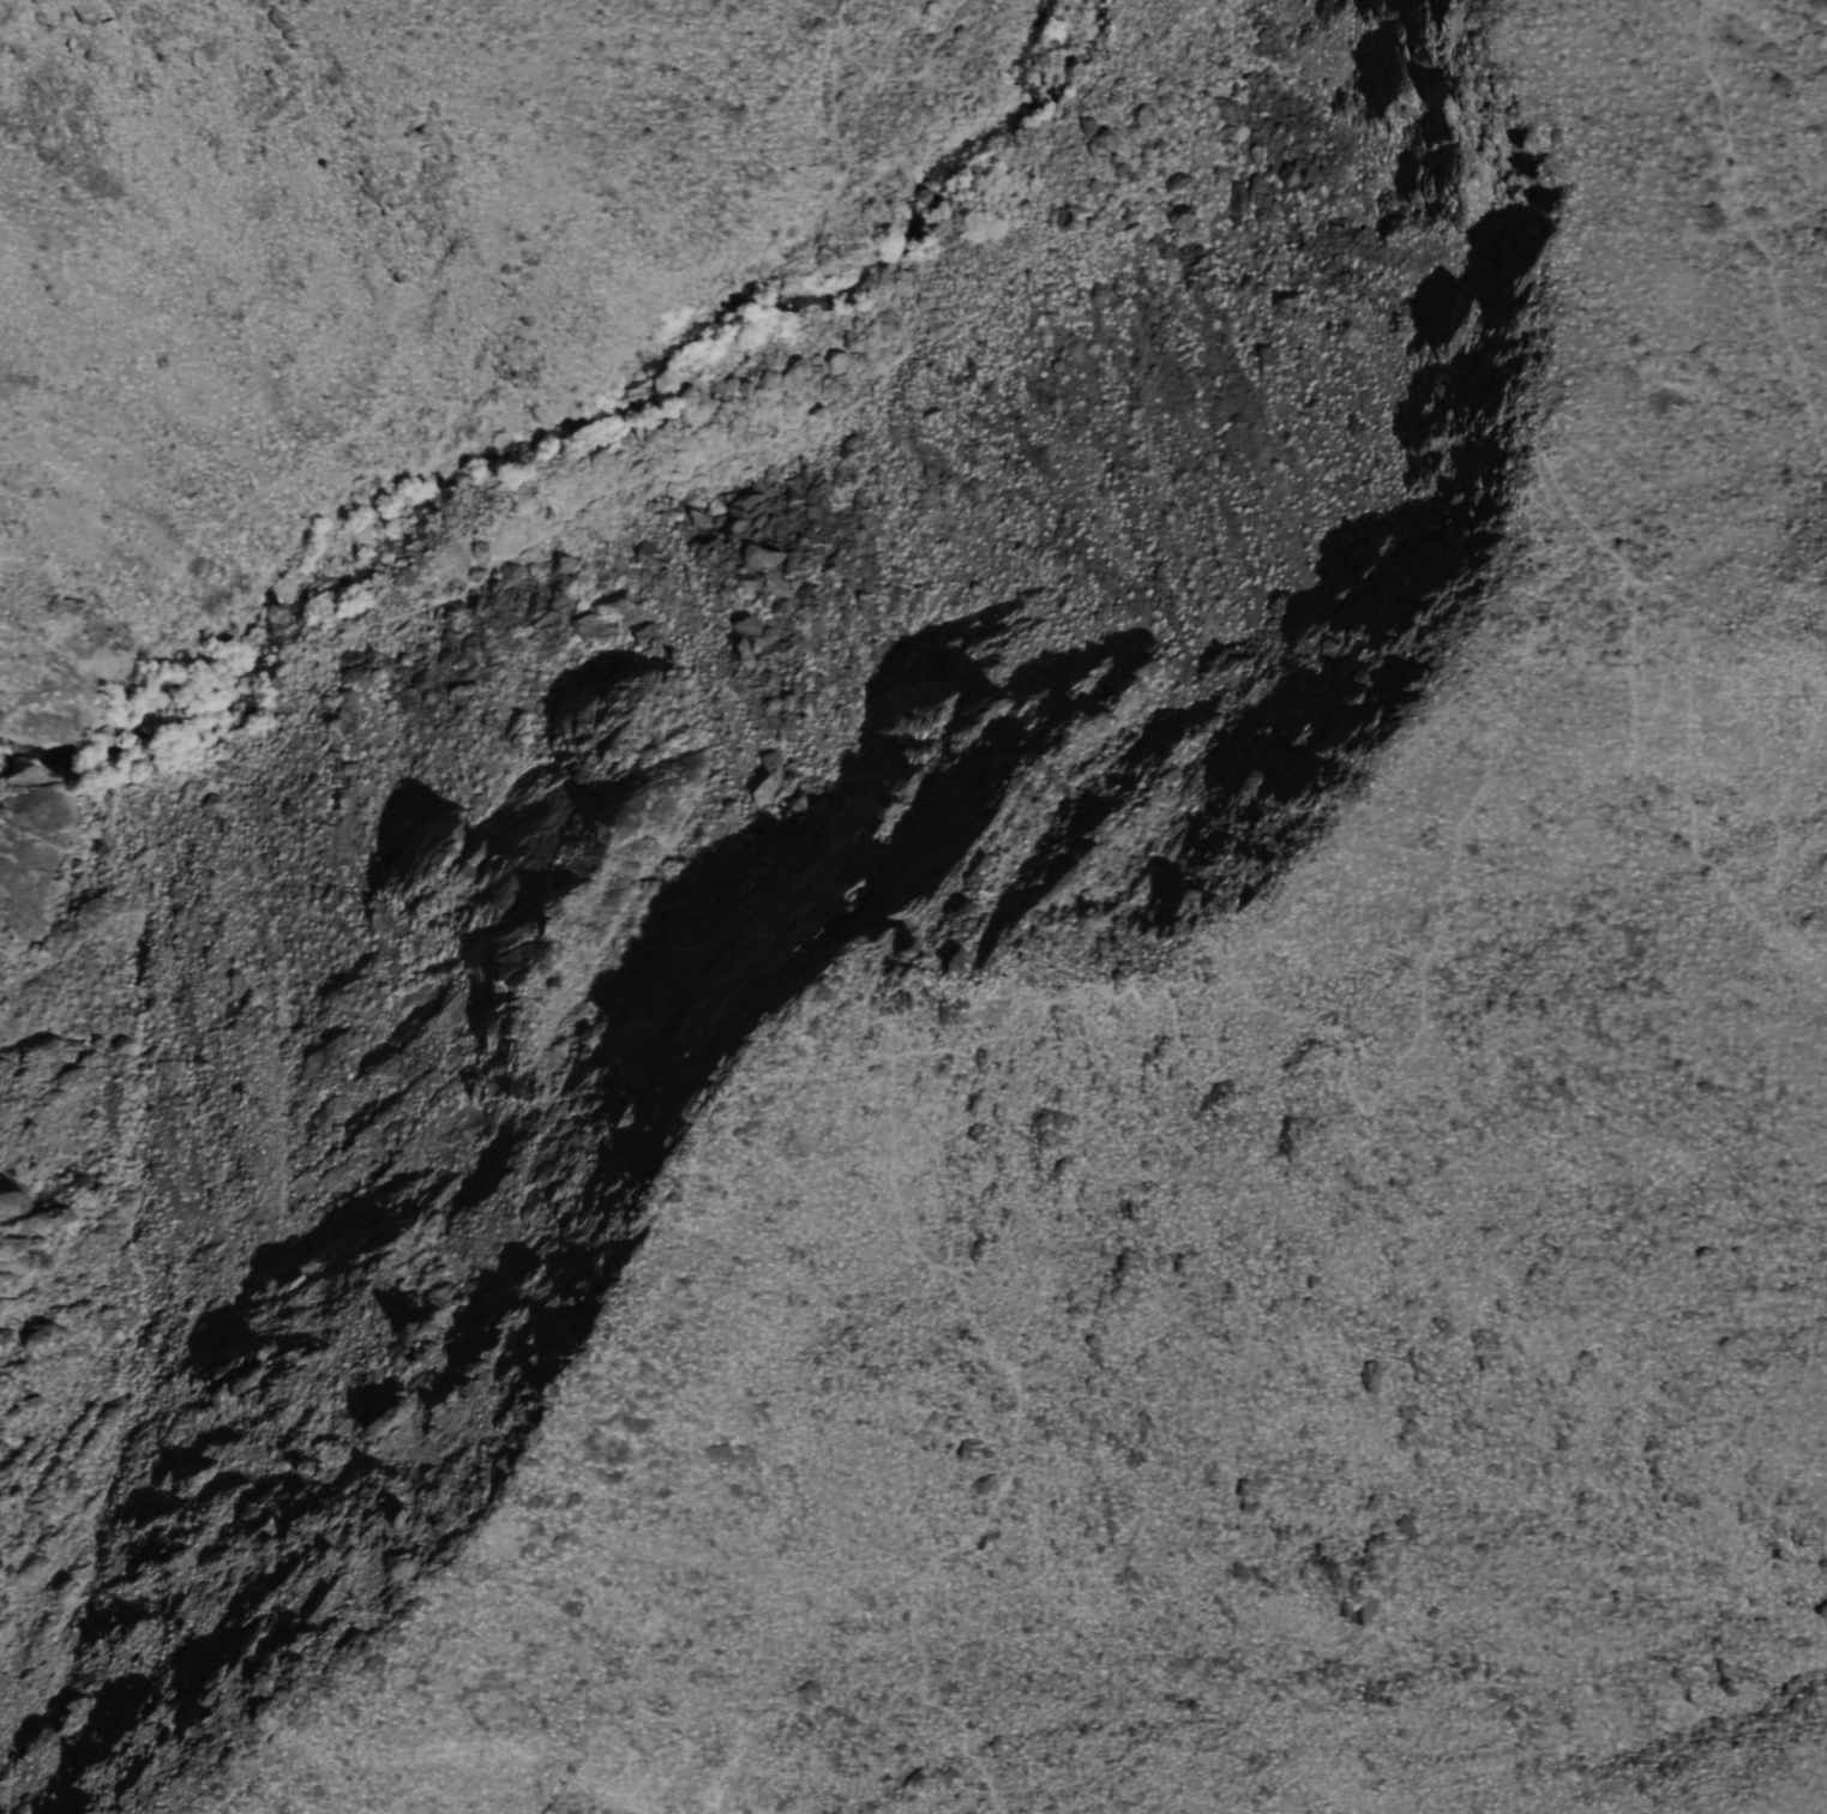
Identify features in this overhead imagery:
road: (1751, 226)
road: (132, 793)
road: (1429, 1001)

